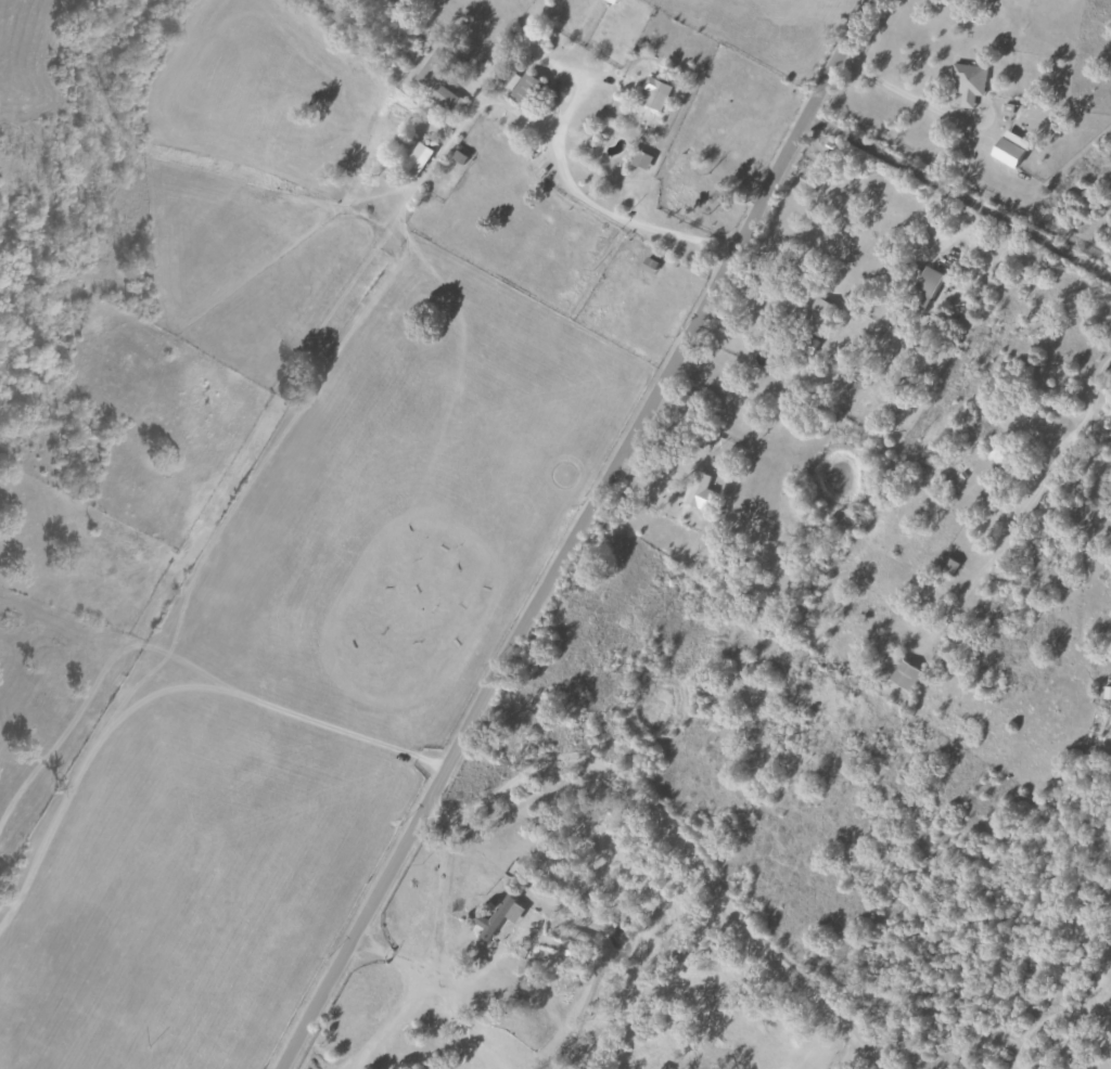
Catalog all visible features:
building: (611, 1)
building: (432, 66)
building: (968, 81)
building: (524, 89)
road: (906, 90)
building: (654, 92)
building: (446, 99)
road: (464, 118)
building: (1006, 149)
building: (458, 156)
building: (416, 159)
building: (640, 159)
road: (959, 197)
road: (611, 210)
building: (648, 265)
building: (924, 287)
building: (813, 324)
road: (1087, 414)
building: (698, 490)
road: (577, 533)
building: (947, 565)
building: (903, 674)
building: (1107, 692)
road: (680, 842)
building: (498, 917)
road: (175, 1005)
road: (846, 1053)
road: (1109, 1065)
road: (169, 1068)

